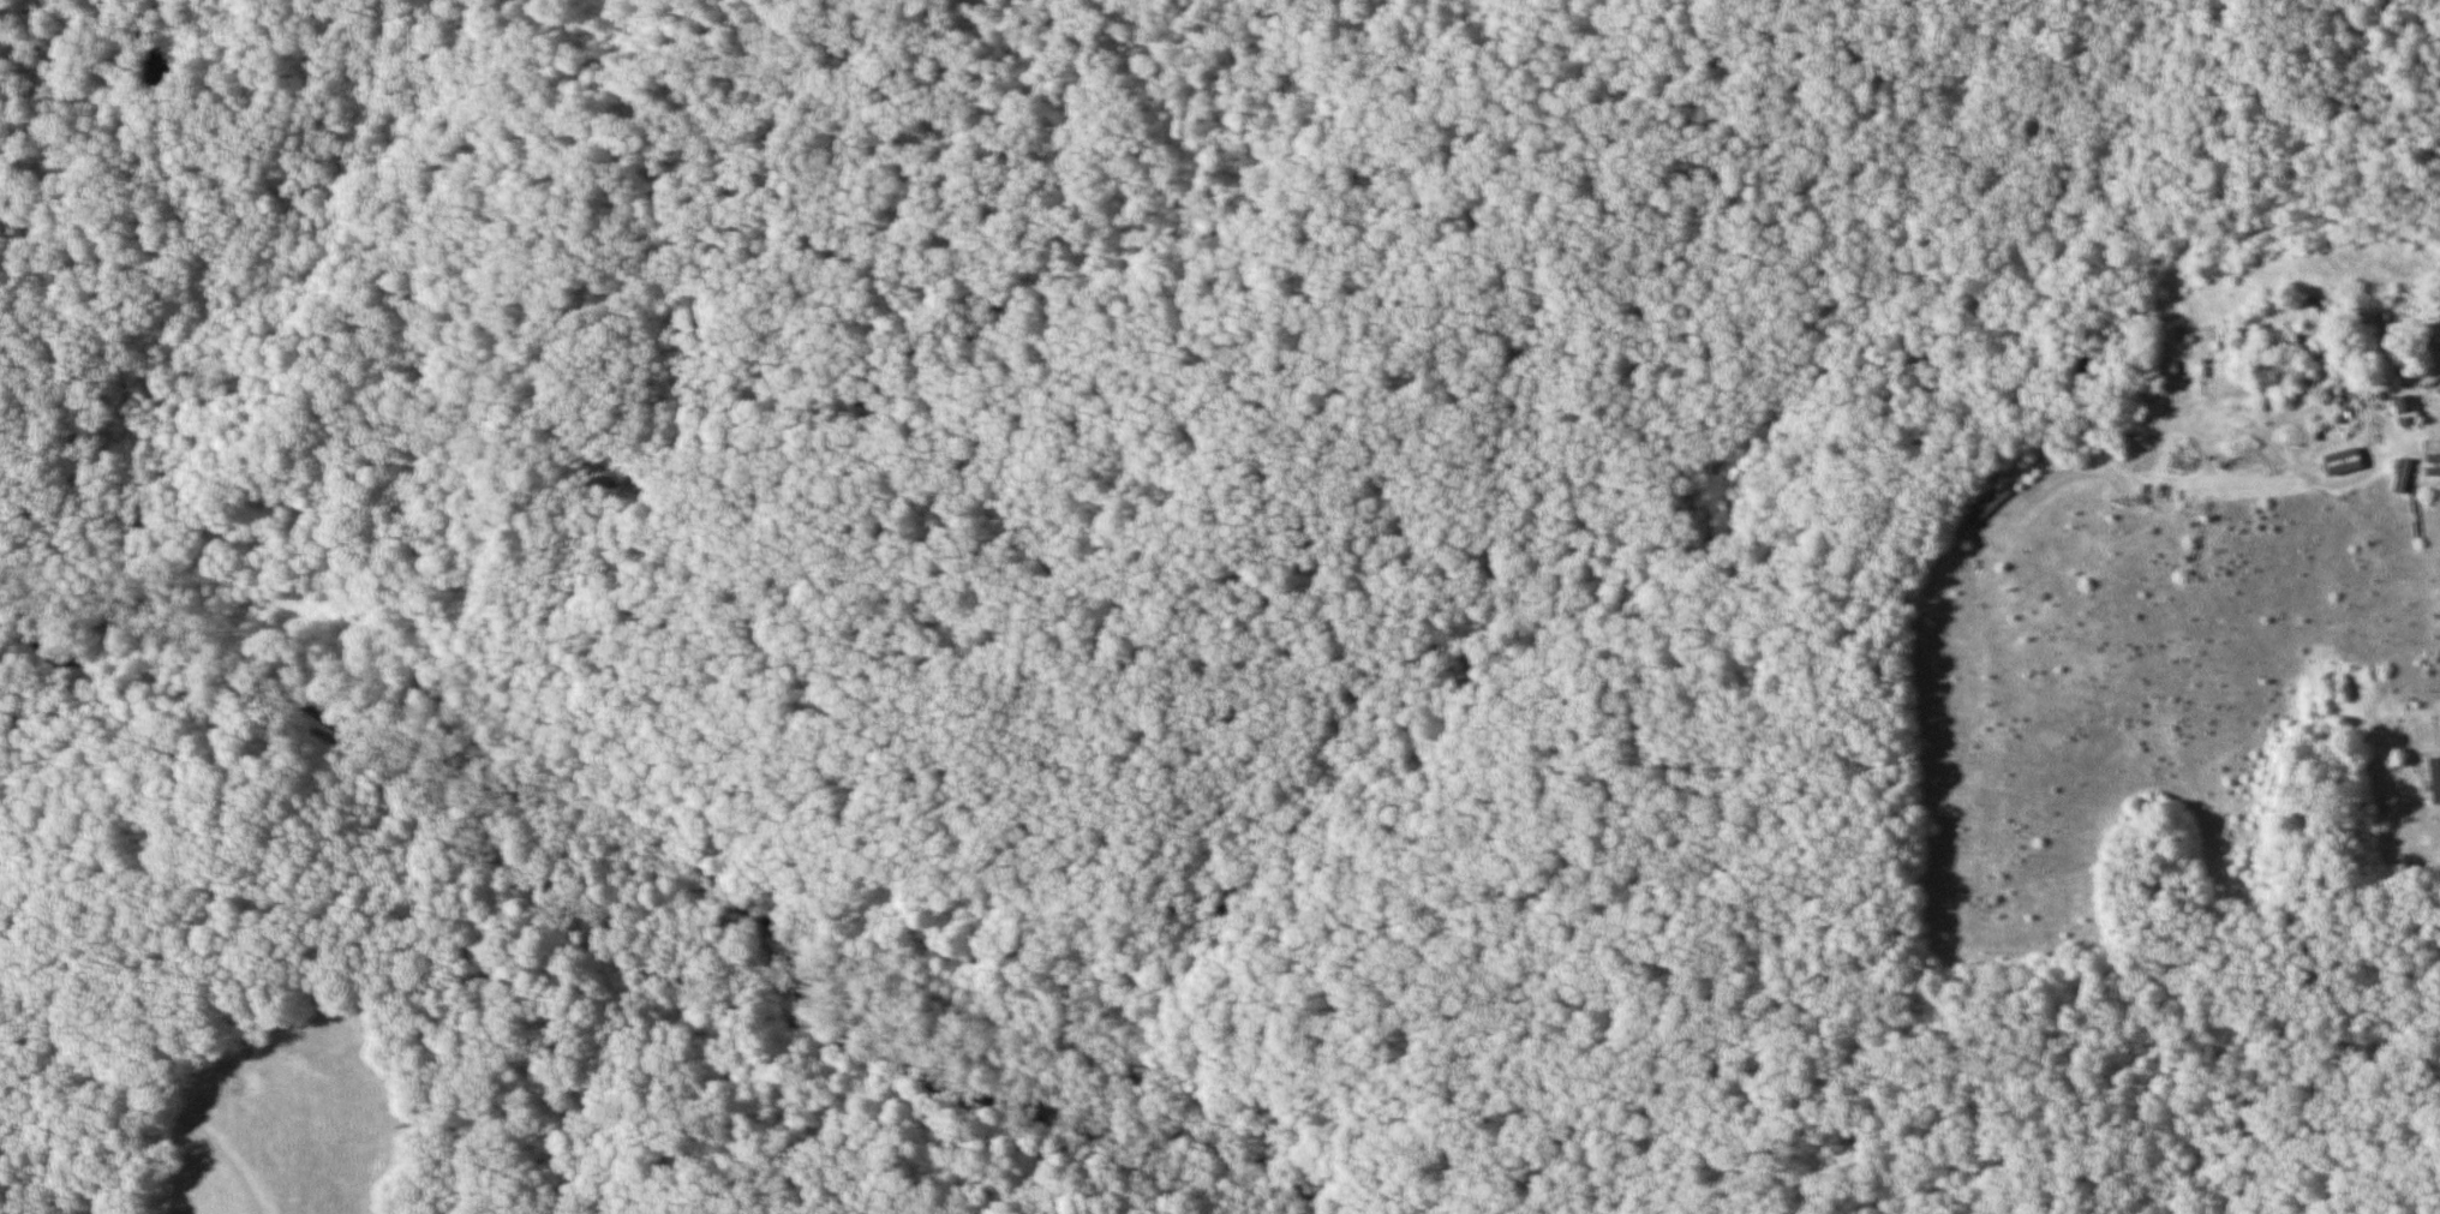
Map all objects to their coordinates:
building: (2381, 335)
building: (2244, 336)
building: (2183, 337)
building: (2331, 459)
building: (2438, 483)
building: (1989, 506)
building: (2435, 779)

